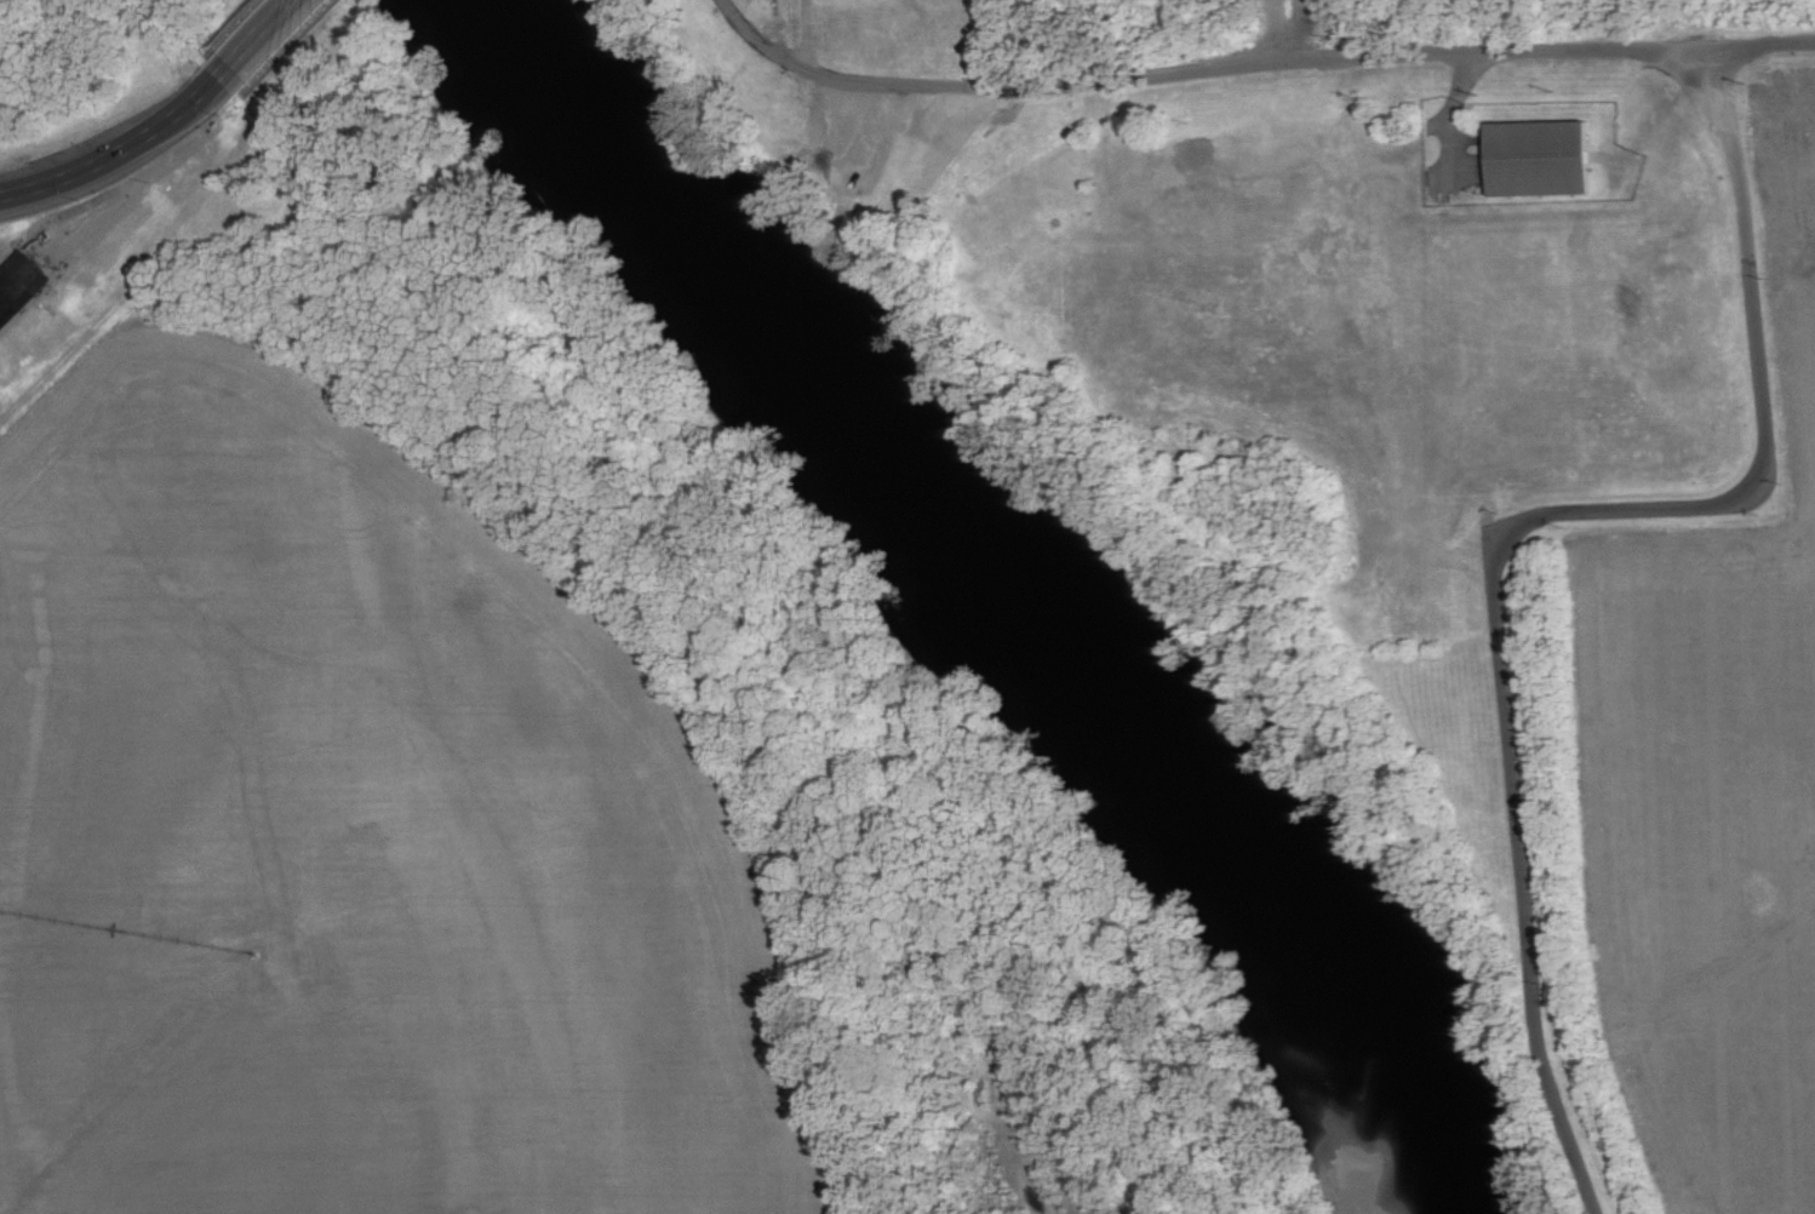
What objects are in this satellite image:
road: (264, 36)
road: (1254, 61)
parking lot: (854, 148)
building: (1538, 156)
road: (1272, 170)
road: (113, 184)
road: (1454, 368)
road: (1511, 525)
river: (977, 600)
road: (1007, 1135)

